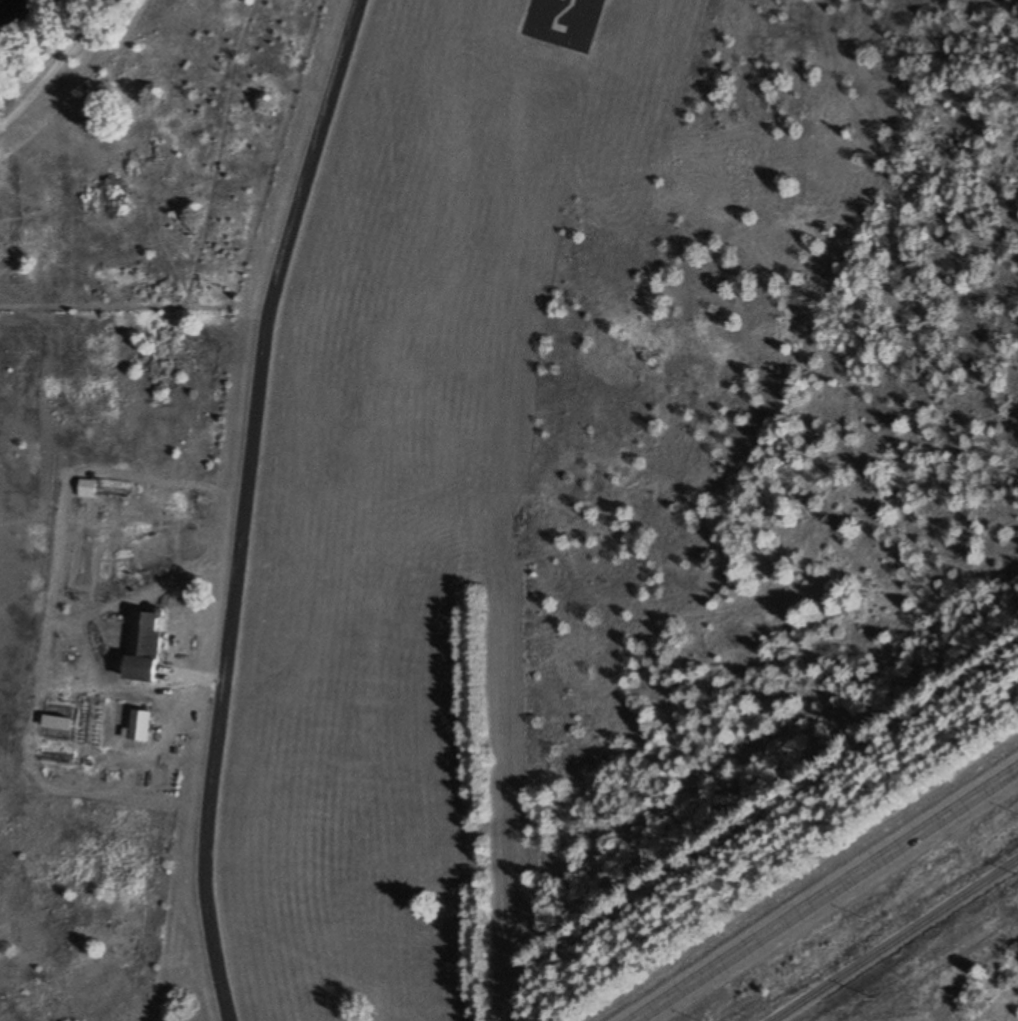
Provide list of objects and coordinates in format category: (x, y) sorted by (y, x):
airport runway: (565, 16)
airport: (617, 455)
building: (88, 488)
road: (246, 505)
building: (145, 648)
building: (142, 726)
road: (825, 895)
railway: (896, 941)

